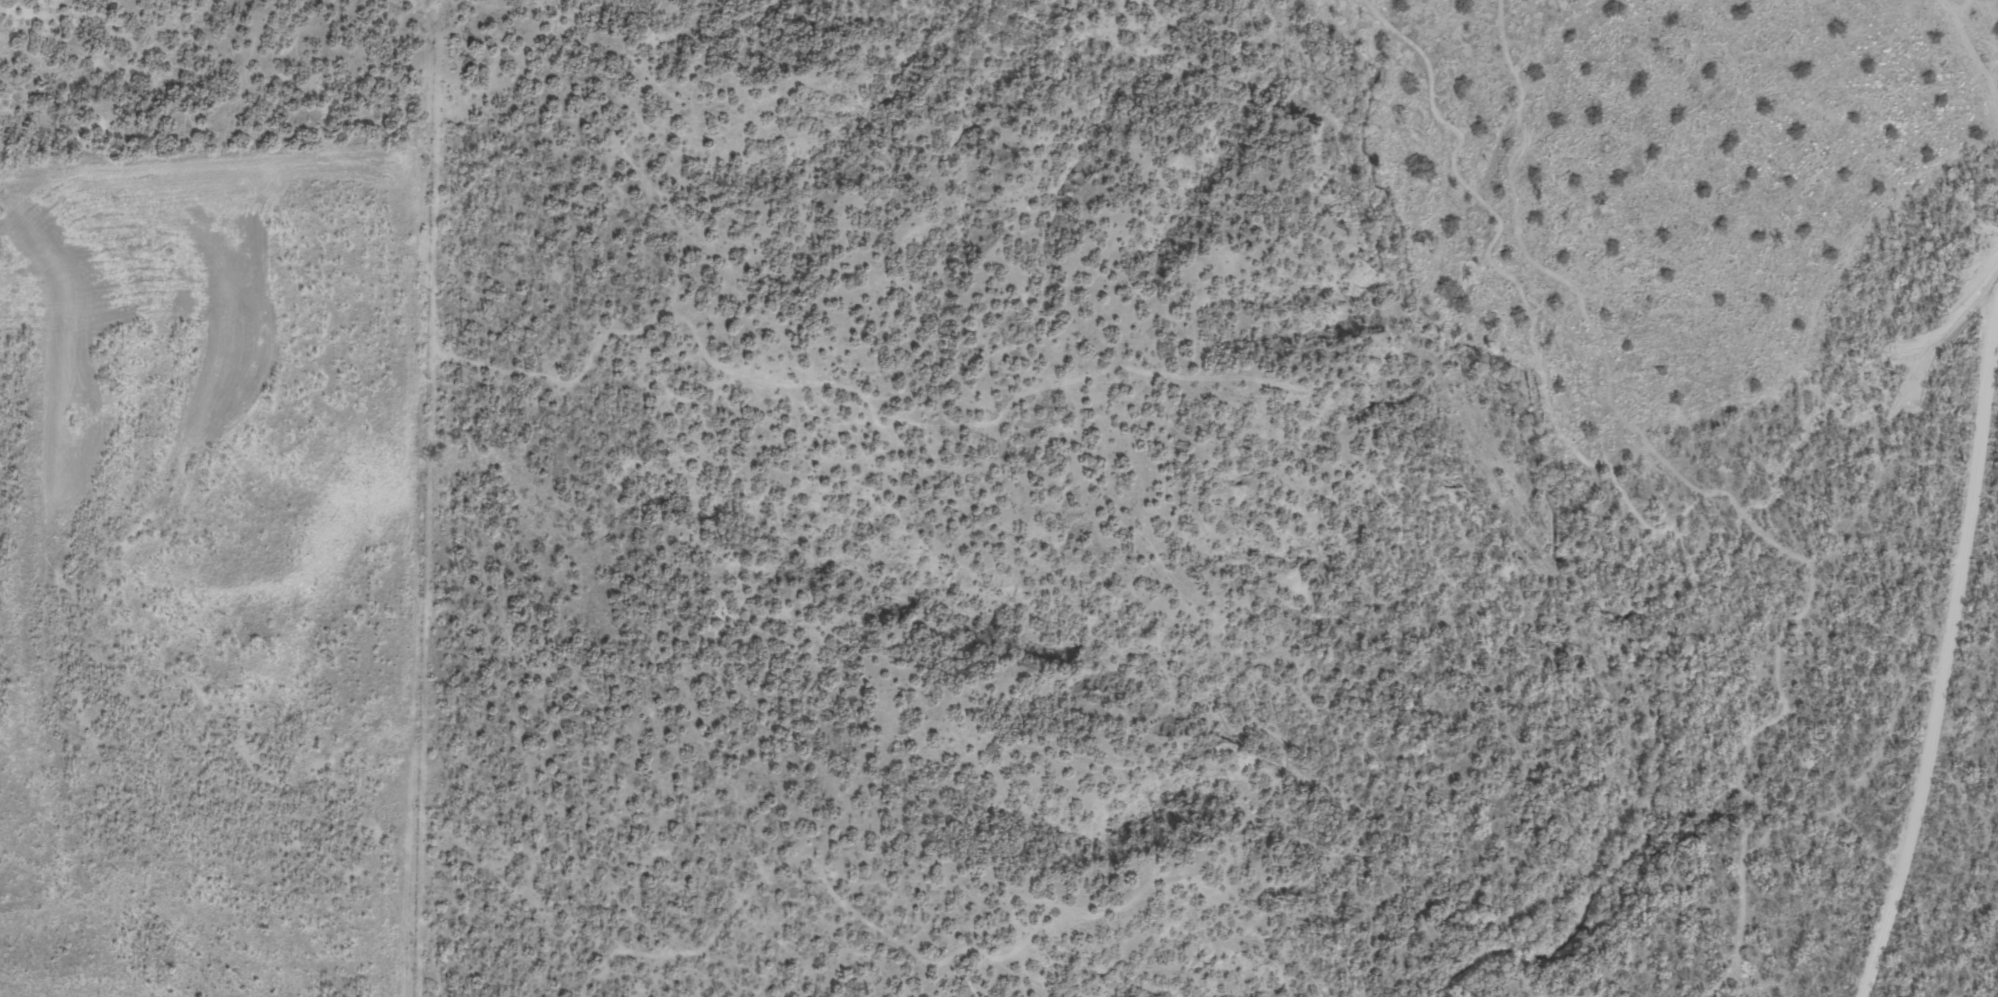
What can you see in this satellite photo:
road: (1948, 656)

